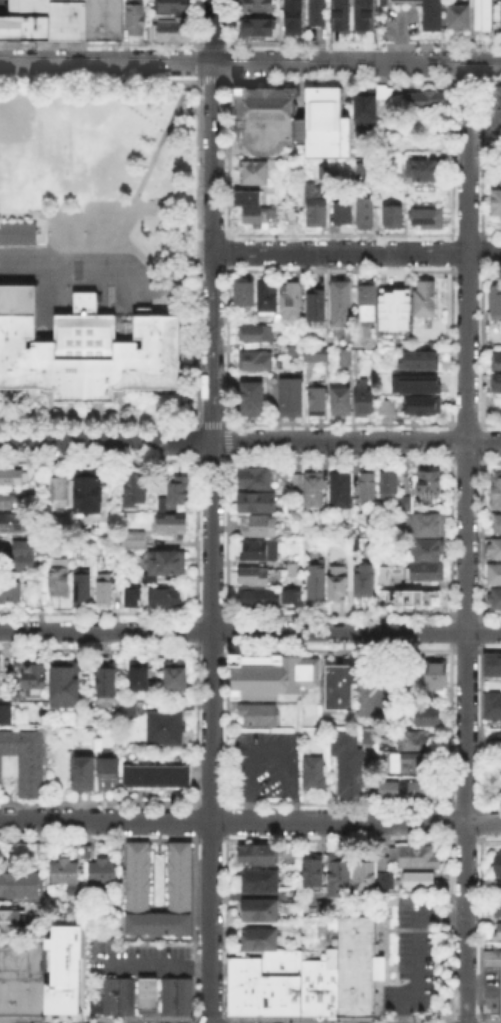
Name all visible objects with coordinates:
building: (72, 0)
building: (257, 6)
building: (28, 7)
building: (174, 7)
building: (425, 12)
building: (318, 13)
building: (345, 15)
building: (480, 15)
building: (368, 16)
building: (460, 17)
building: (102, 19)
building: (500, 19)
building: (65, 20)
building: (136, 20)
building: (295, 21)
road: (229, 23)
road: (198, 24)
building: (23, 27)
building: (258, 29)
building: (173, 30)
road: (100, 42)
road: (213, 43)
road: (363, 43)
road: (198, 61)
road: (230, 61)
road: (250, 63)
road: (100, 78)
road: (211, 79)
road: (338, 80)
road: (467, 81)
road: (491, 81)
building: (423, 105)
building: (370, 107)
building: (498, 113)
building: (295, 124)
road: (212, 125)
road: (229, 157)
building: (426, 172)
building: (255, 174)
road: (140, 176)
park: (102, 177)
building: (497, 205)
building: (255, 208)
building: (316, 208)
building: (343, 214)
building: (366, 214)
building: (425, 215)
building: (292, 217)
building: (394, 219)
building: (17, 231)
road: (197, 251)
road: (229, 251)
road: (356, 252)
road: (13, 272)
road: (118, 274)
building: (245, 296)
building: (269, 300)
building: (425, 300)
building: (368, 302)
building: (495, 302)
building: (293, 304)
building: (390, 304)
building: (342, 305)
building: (317, 307)
building: (257, 333)
building: (294, 343)
road: (228, 345)
road: (211, 346)
building: (83, 348)
building: (351, 353)
building: (316, 356)
building: (419, 360)
building: (496, 362)
building: (256, 363)
building: (424, 384)
building: (498, 387)
building: (291, 396)
building: (253, 399)
building: (365, 399)
building: (319, 404)
building: (342, 406)
building: (423, 407)
building: (388, 408)
road: (100, 422)
road: (212, 423)
road: (339, 423)
road: (466, 423)
road: (489, 423)
road: (105, 440)
road: (229, 440)
road: (355, 440)
road: (197, 441)
road: (101, 457)
road: (212, 459)
road: (339, 459)
road: (489, 459)
road: (466, 460)
building: (13, 478)
building: (256, 479)
building: (390, 484)
building: (369, 486)
building: (430, 486)
building: (136, 487)
building: (57, 488)
building: (314, 492)
building: (496, 492)
building: (342, 493)
building: (89, 494)
building: (176, 496)
building: (7, 502)
building: (260, 505)
building: (14, 524)
building: (425, 524)
building: (498, 525)
building: (172, 526)
building: (260, 528)
road: (196, 537)
road: (228, 537)
building: (134, 543)
road: (466, 543)
building: (496, 548)
building: (2, 550)
building: (428, 550)
building: (261, 551)
building: (25, 557)
building: (166, 565)
building: (295, 571)
building: (425, 573)
building: (495, 575)
building: (254, 577)
building: (59, 578)
building: (365, 582)
building: (317, 583)
building: (340, 585)
building: (82, 590)
building: (289, 594)
building: (11, 595)
building: (105, 595)
building: (129, 595)
building: (255, 596)
building: (411, 599)
building: (166, 600)
building: (495, 600)
road: (250, 629)
road: (195, 630)
road: (227, 630)
building: (491, 663)
building: (269, 674)
building: (141, 676)
building: (437, 678)
building: (107, 679)
building: (35, 681)
building: (176, 681)
building: (66, 683)
building: (343, 687)
building: (490, 704)
building: (127, 709)
building: (257, 713)
building: (6, 716)
building: (429, 717)
road: (227, 723)
road: (195, 724)
building: (163, 726)
road: (208, 731)
building: (411, 739)
building: (498, 739)
road: (267, 745)
building: (26, 762)
building: (346, 763)
building: (411, 764)
building: (81, 770)
building: (107, 770)
building: (499, 771)
building: (154, 774)
building: (315, 774)
building: (389, 790)
building: (420, 790)
road: (250, 819)
road: (195, 820)
road: (227, 820)
building: (84, 851)
building: (259, 854)
building: (421, 856)
building: (497, 866)
building: (311, 872)
building: (68, 873)
building: (104, 873)
building: (385, 873)
building: (178, 875)
building: (363, 875)
building: (338, 877)
building: (418, 879)
building: (262, 882)
building: (20, 885)
building: (431, 887)
building: (500, 891)
building: (258, 908)
building: (323, 910)
building: (498, 911)
building: (10, 918)
road: (195, 925)
road: (226, 925)
building: (496, 930)
building: (257, 937)
building: (22, 948)
road: (415, 948)
building: (491, 957)
road: (149, 964)
building: (354, 965)
building: (22, 968)
building: (63, 969)
building: (262, 982)
building: (318, 984)
building: (499, 990)
building: (145, 991)
building: (124, 995)
building: (175, 995)
building: (10, 996)
building: (26, 996)
building: (39, 996)
building: (104, 997)
road: (209, 1018)

